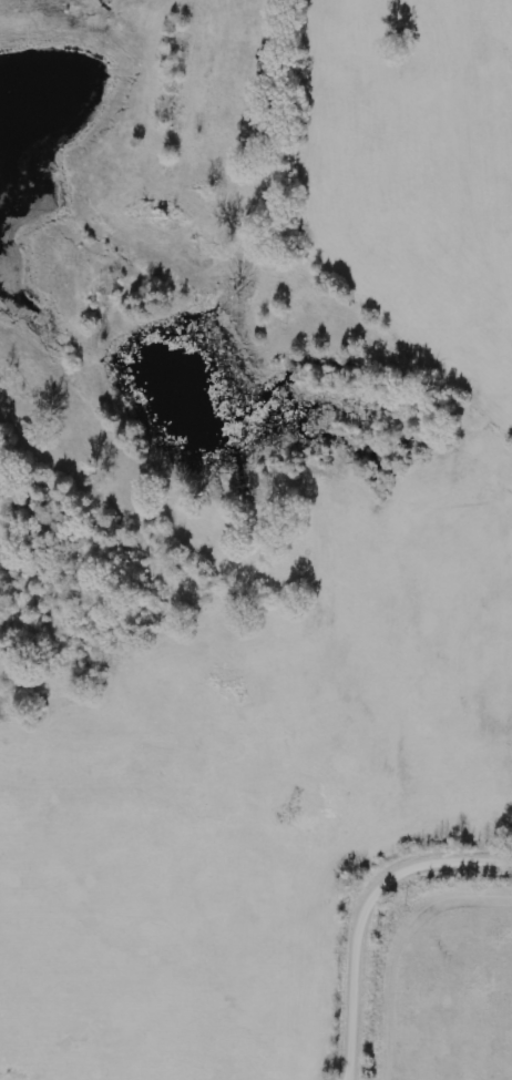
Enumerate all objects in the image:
road: (372, 919)

